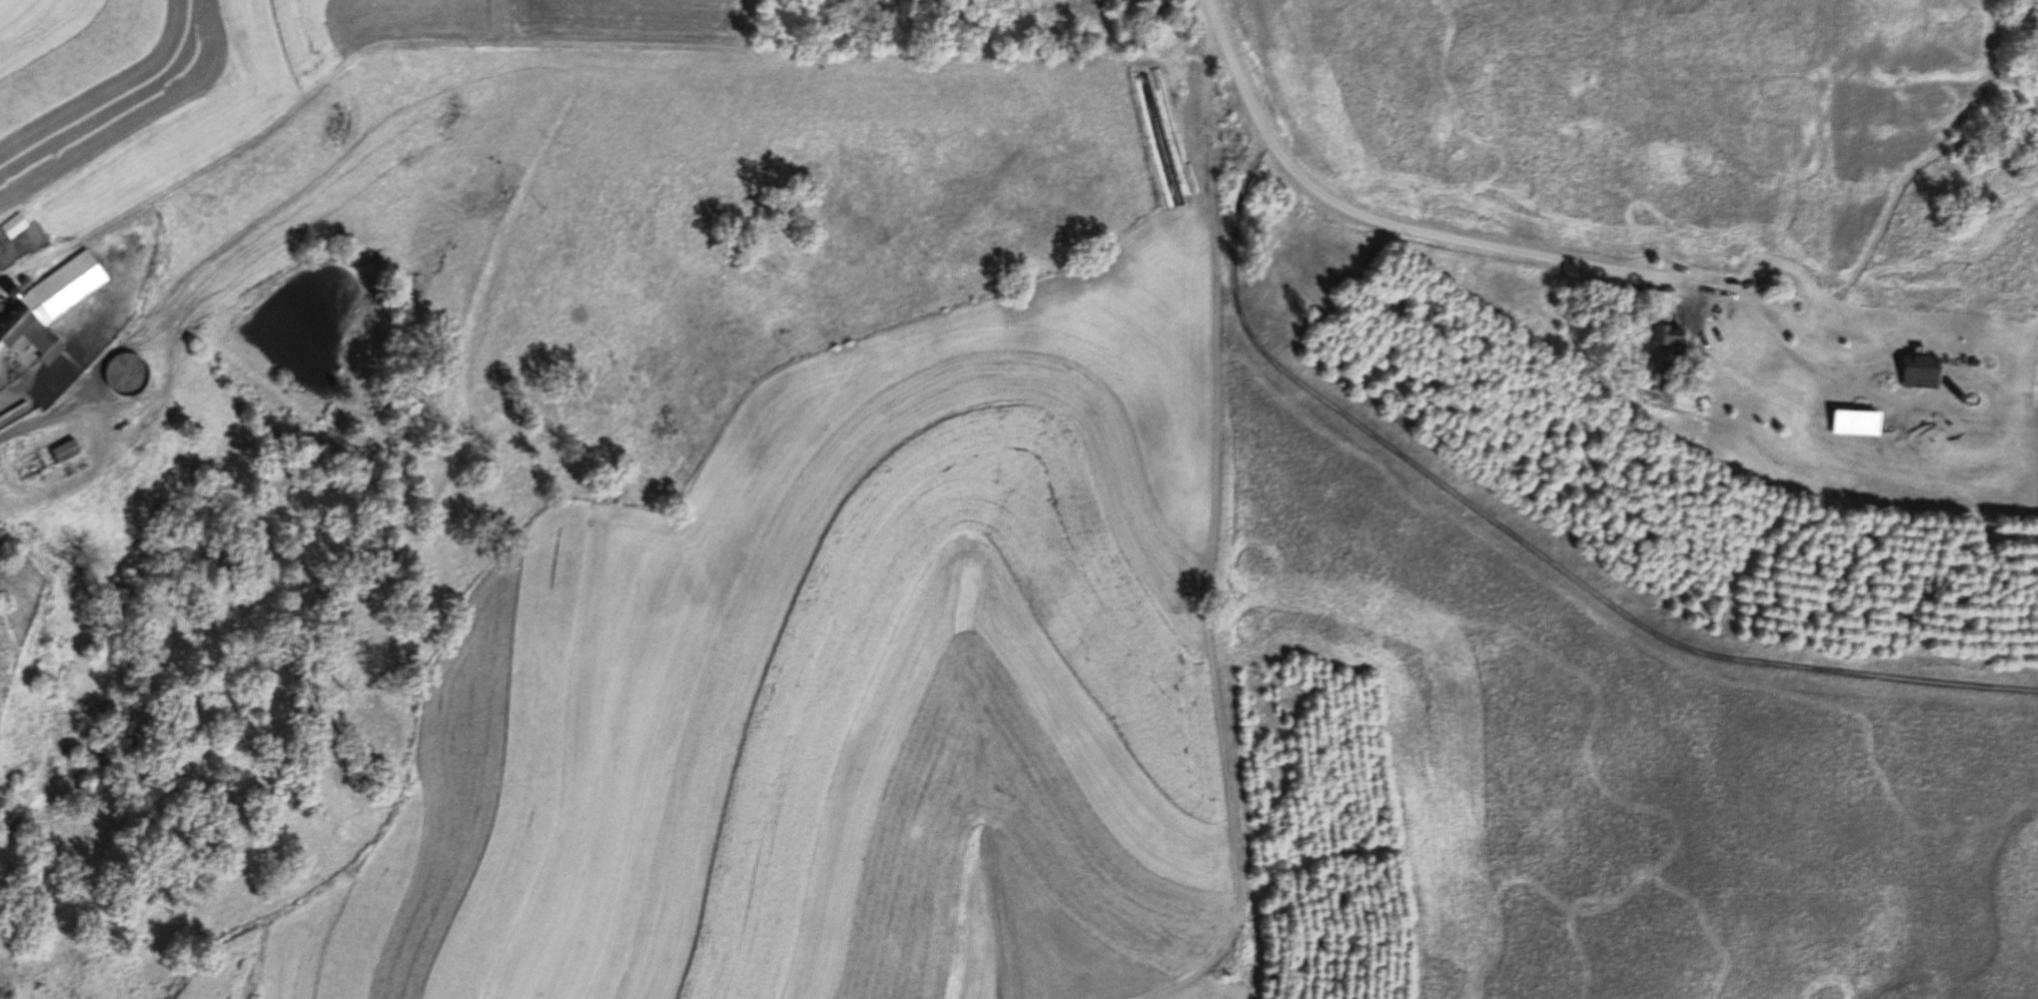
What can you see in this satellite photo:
building: (15, 226)
road: (1414, 232)
building: (49, 306)
building: (1670, 339)
road: (49, 431)
building: (65, 450)

